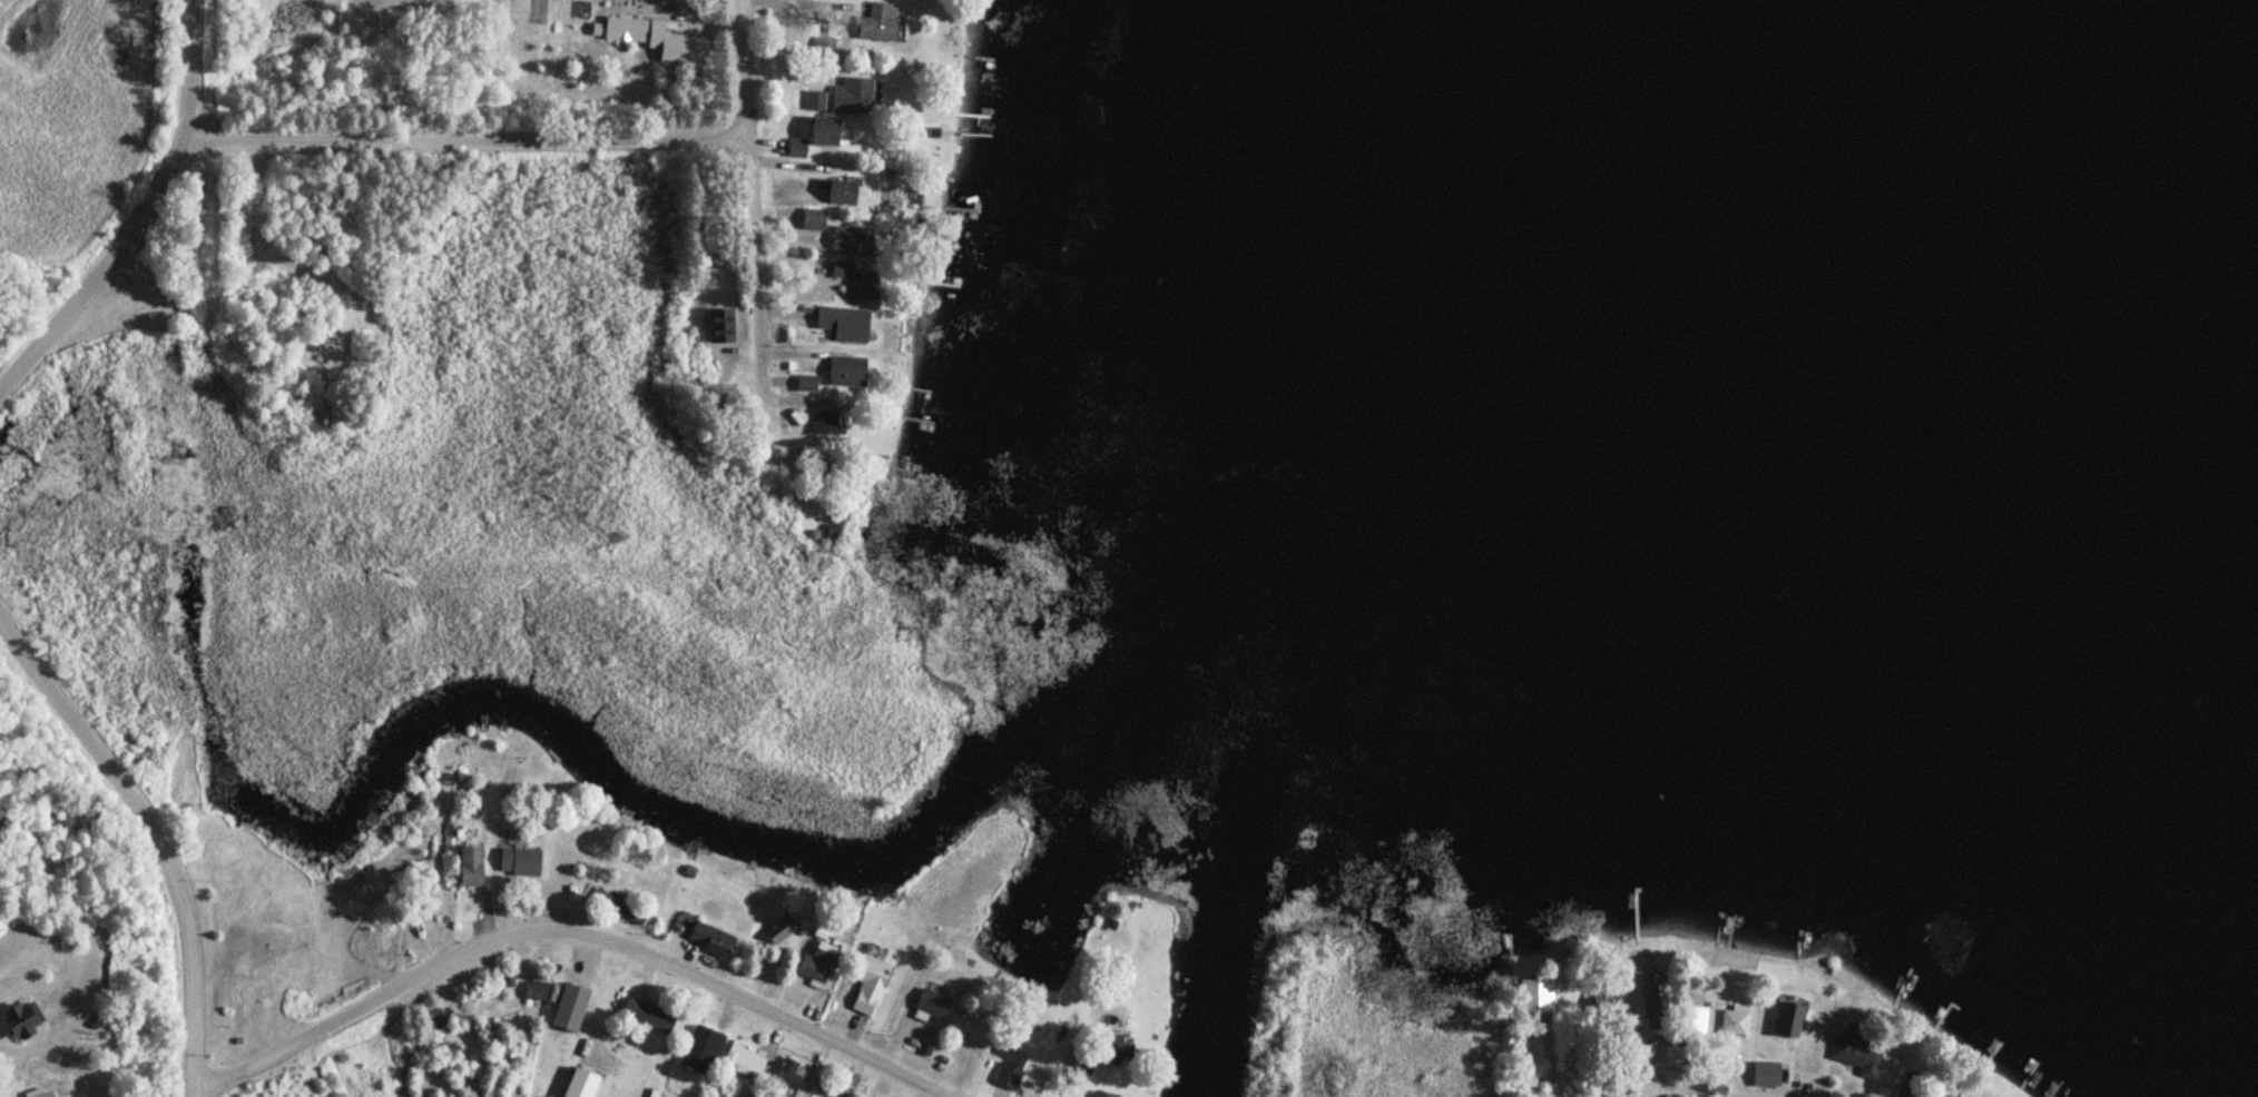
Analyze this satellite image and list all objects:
building: (876, 23)
building: (619, 29)
building: (851, 96)
building: (818, 136)
road: (469, 137)
road: (749, 175)
building: (836, 191)
road: (146, 215)
building: (811, 219)
building: (846, 240)
building: (851, 280)
building: (838, 324)
building: (841, 372)
building: (825, 422)
road: (157, 837)
building: (514, 861)
building: (465, 867)
road: (587, 907)
building: (779, 933)
building: (707, 937)
building: (815, 961)
building: (866, 982)
building: (533, 990)
building: (1608, 990)
building: (1653, 990)
building: (1537, 995)
building: (567, 1008)
building: (234, 1011)
building: (645, 1014)
building: (1787, 1016)
building: (17, 1018)
building: (433, 1019)
building: (1734, 1019)
building: (973, 1028)
building: (1112, 1048)
building: (699, 1049)
building: (1853, 1051)
building: (1010, 1058)
building: (742, 1063)
building: (1763, 1073)
building: (785, 1077)
building: (1940, 1096)

